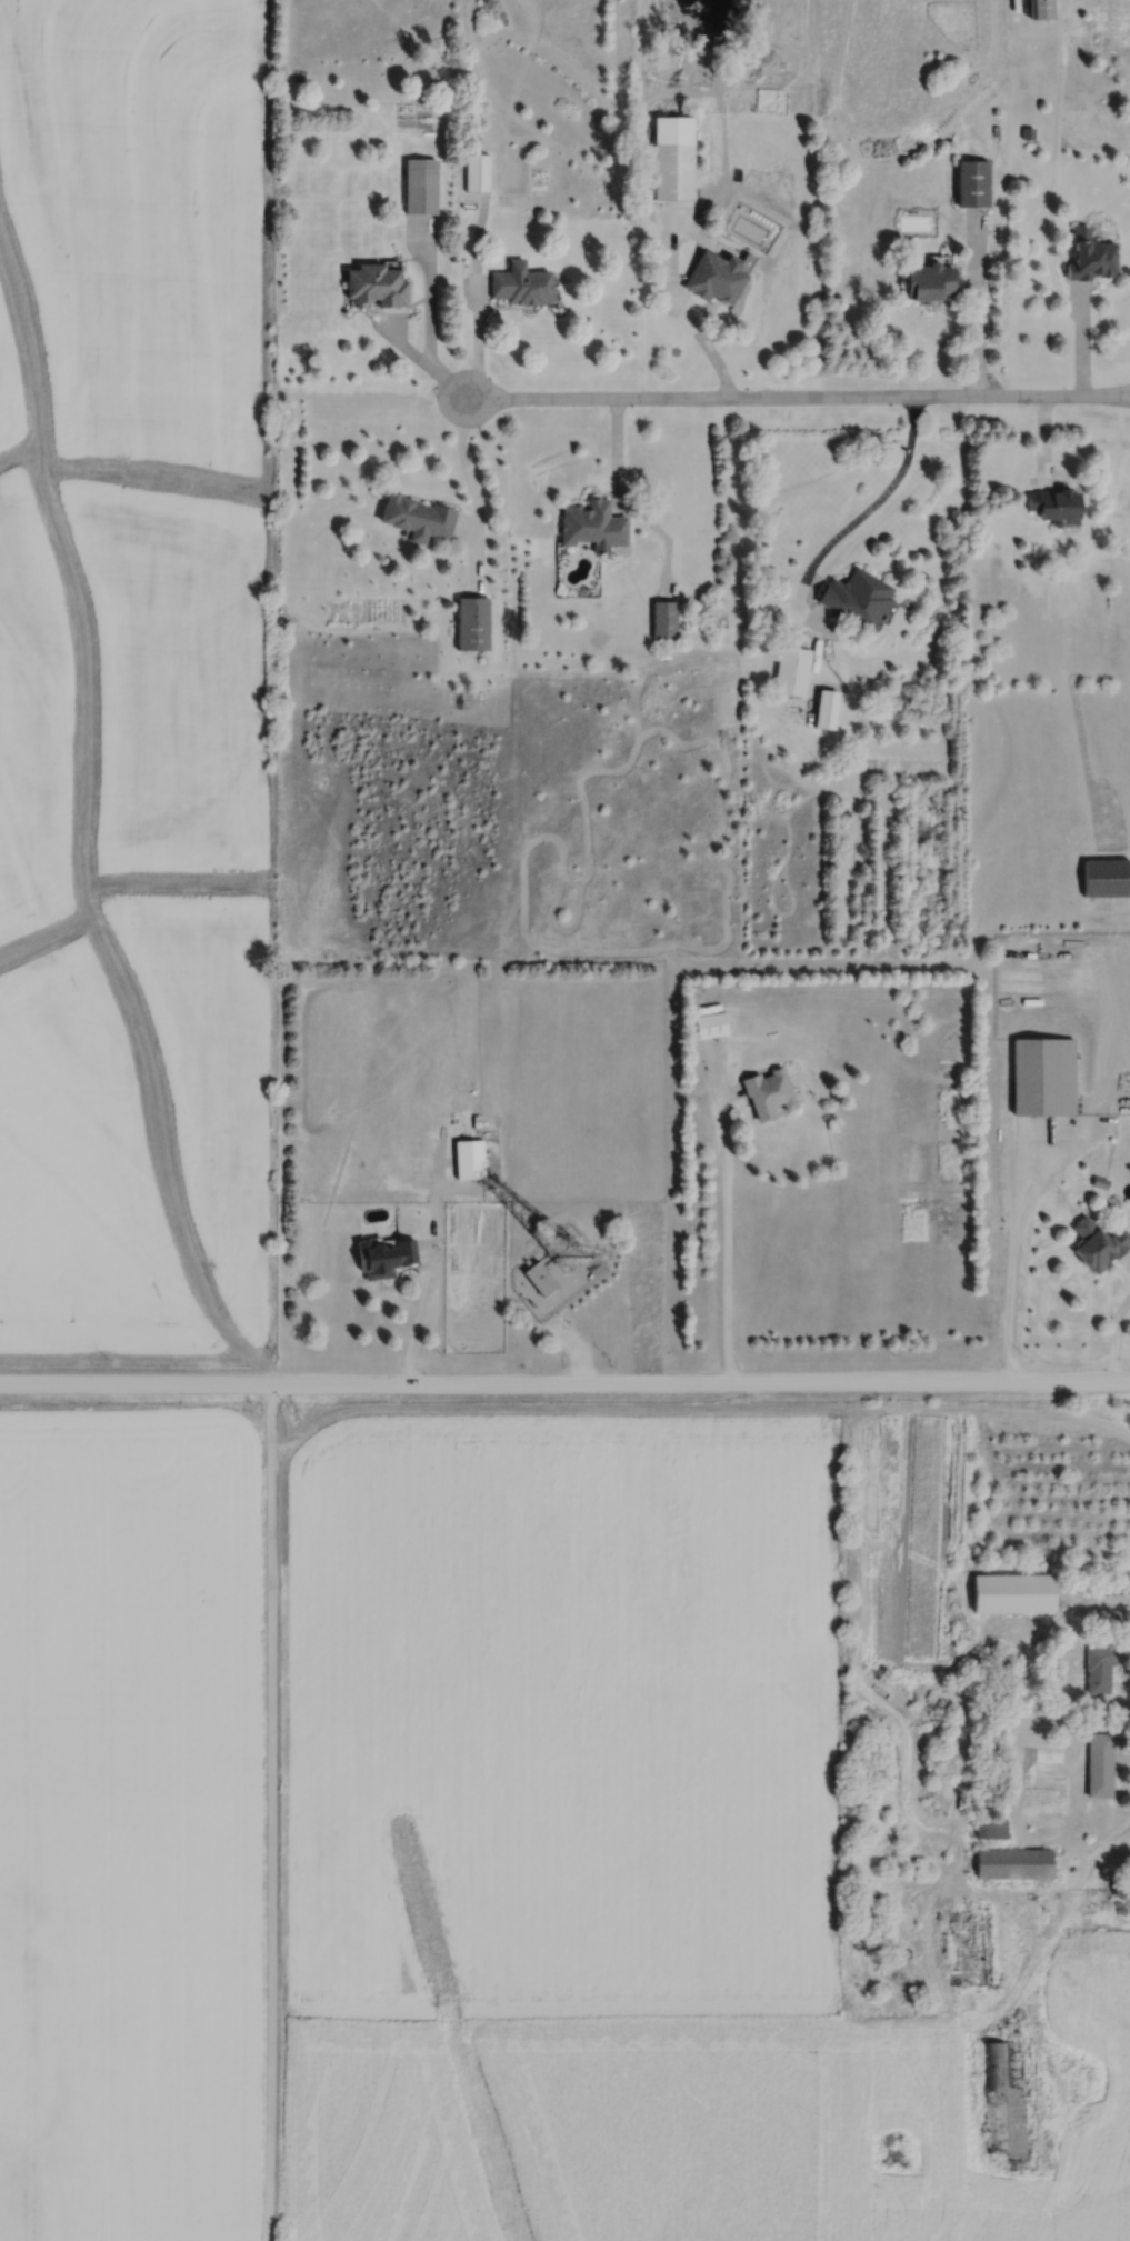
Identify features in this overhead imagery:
building: (1042, 9)
road: (1053, 160)
building: (673, 171)
building: (478, 173)
building: (973, 183)
building: (421, 186)
building: (1092, 257)
building: (718, 278)
building: (931, 281)
building: (521, 284)
building: (377, 286)
road: (688, 313)
road: (482, 319)
road: (431, 320)
road: (981, 333)
road: (1086, 342)
road: (796, 401)
road: (472, 481)
road: (630, 502)
building: (1056, 506)
building: (418, 518)
road: (859, 526)
building: (592, 527)
building: (860, 599)
building: (664, 620)
building: (473, 626)
building: (792, 671)
building: (1023, 953)
building: (1021, 997)
building: (711, 1024)
building: (1044, 1076)
building: (769, 1092)
building: (469, 1159)
road: (729, 1239)
building: (1101, 1248)
building: (384, 1257)
road: (1020, 1257)
building: (540, 1277)
road: (416, 1328)
road: (1120, 1347)
road: (564, 1390)
road: (1128, 1660)
building: (1100, 1669)
building: (1100, 1764)
road: (1127, 1765)
road: (272, 1815)
building: (991, 1828)
building: (1128, 1860)
building: (1014, 1863)
building: (1122, 1889)
building: (1006, 2103)

